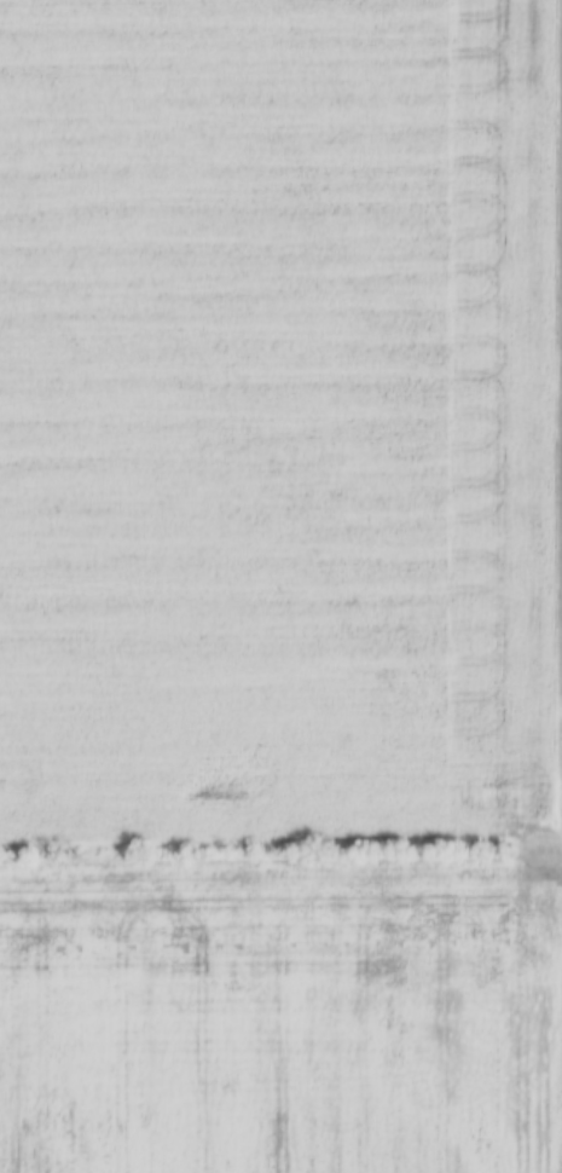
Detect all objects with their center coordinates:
road: (280, 843)

